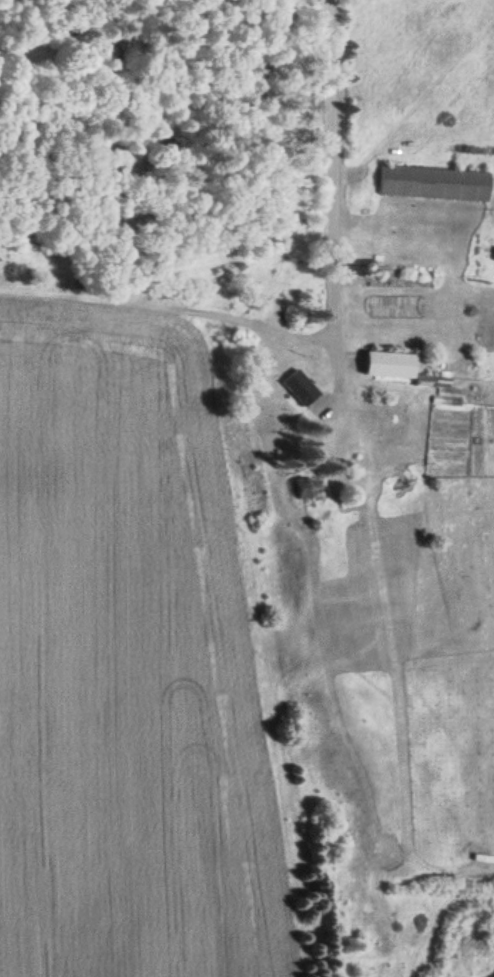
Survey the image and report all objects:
building: (436, 184)
road: (336, 200)
building: (392, 366)
building: (303, 388)
building: (312, 489)

